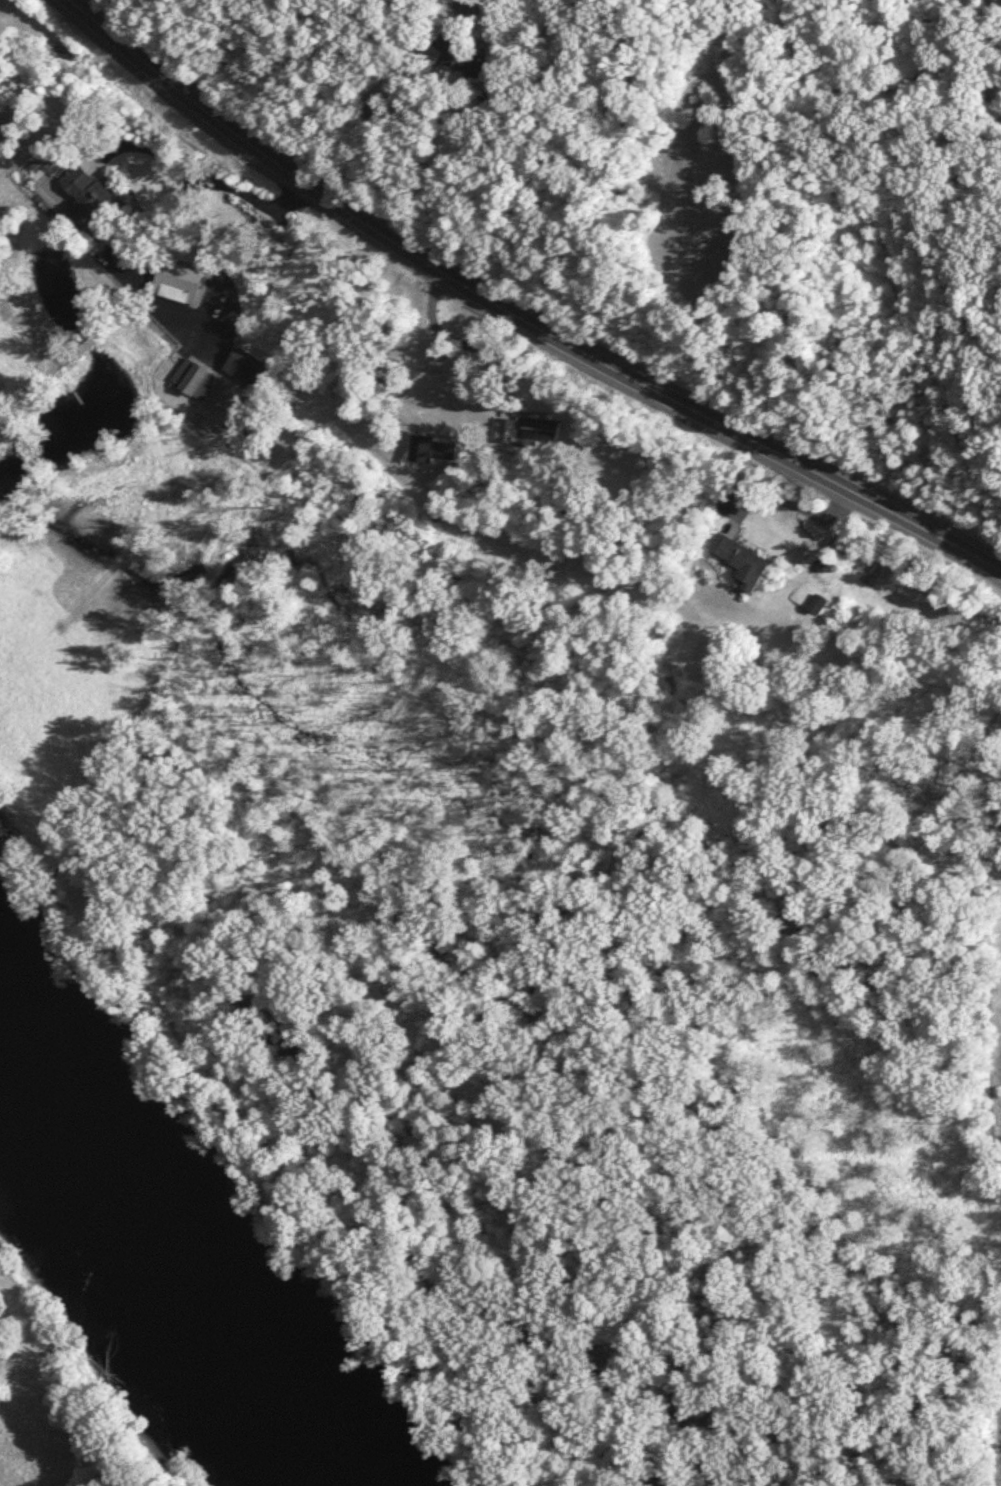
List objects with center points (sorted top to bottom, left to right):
road: (464, 2)
building: (457, 57)
road: (216, 185)
building: (85, 198)
building: (175, 283)
road: (517, 315)
road: (450, 341)
building: (244, 368)
building: (193, 380)
building: (525, 432)
building: (431, 449)
road: (791, 505)
building: (739, 561)
river: (170, 1255)

